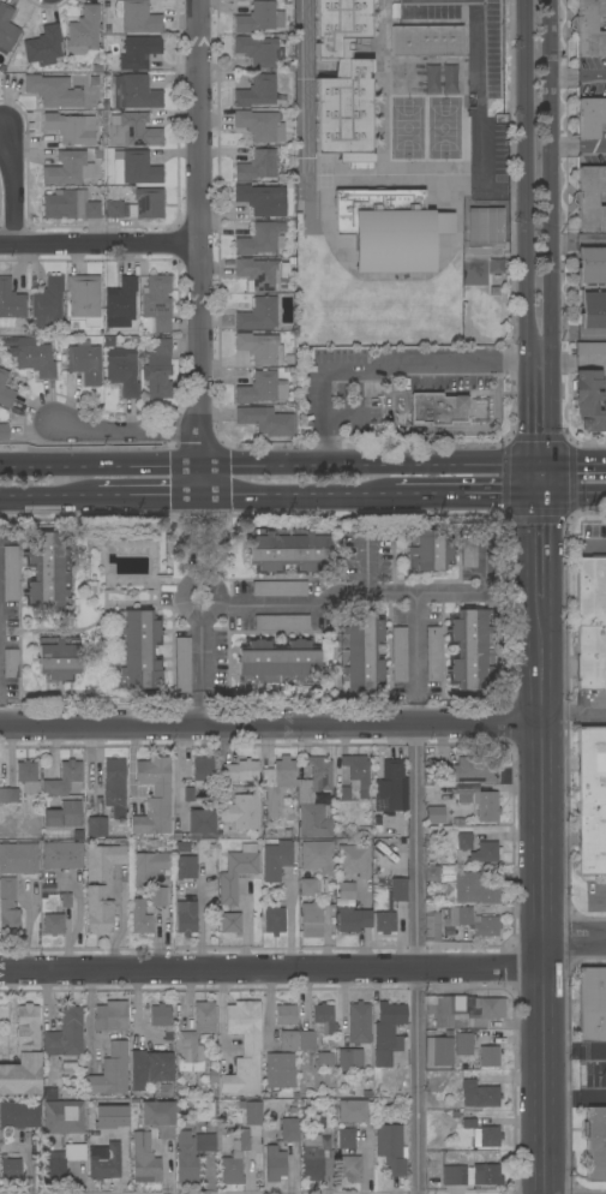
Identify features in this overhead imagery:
building: (137, 17)
building: (259, 18)
building: (6, 28)
building: (589, 28)
building: (83, 31)
building: (426, 41)
building: (43, 44)
building: (262, 50)
building: (137, 52)
building: (241, 77)
road: (578, 79)
building: (342, 83)
building: (52, 91)
building: (257, 91)
building: (133, 92)
road: (476, 96)
building: (590, 117)
building: (259, 126)
building: (71, 129)
building: (133, 131)
road: (580, 148)
building: (257, 166)
building: (68, 168)
building: (136, 168)
road: (526, 178)
road: (16, 184)
building: (590, 198)
building: (260, 199)
building: (146, 204)
building: (68, 205)
building: (113, 210)
building: (485, 225)
building: (385, 229)
road: (552, 232)
building: (258, 240)
road: (578, 240)
road: (100, 244)
road: (200, 249)
building: (592, 265)
building: (258, 273)
building: (84, 299)
building: (157, 302)
building: (48, 303)
building: (120, 303)
building: (10, 304)
building: (593, 310)
building: (258, 315)
road: (578, 335)
building: (260, 348)
building: (590, 348)
building: (34, 358)
building: (85, 363)
road: (378, 364)
building: (158, 370)
building: (122, 371)
building: (262, 388)
building: (5, 390)
building: (589, 400)
building: (438, 408)
road: (527, 412)
building: (265, 420)
road: (126, 431)
building: (4, 432)
traffic signals: (545, 464)
road: (575, 464)
road: (272, 465)
road: (545, 479)
road: (470, 496)
traffic signals: (546, 496)
road: (576, 496)
road: (47, 497)
road: (299, 497)
road: (148, 499)
building: (288, 549)
building: (430, 550)
building: (468, 553)
road: (545, 560)
building: (10, 573)
building: (48, 573)
building: (278, 589)
building: (0, 592)
road: (290, 605)
building: (281, 622)
building: (590, 622)
building: (470, 649)
building: (137, 650)
building: (360, 650)
building: (398, 653)
building: (432, 653)
building: (58, 658)
building: (277, 661)
building: (11, 663)
building: (182, 664)
road: (575, 714)
road: (271, 724)
building: (240, 770)
building: (472, 770)
building: (25, 771)
building: (199, 776)
building: (353, 777)
building: (62, 778)
building: (316, 781)
building: (114, 782)
building: (277, 783)
building: (391, 788)
building: (8, 795)
building: (154, 796)
building: (592, 800)
building: (481, 804)
building: (241, 812)
building: (64, 814)
building: (434, 814)
building: (314, 820)
building: (200, 822)
building: (96, 826)
building: (463, 842)
building: (485, 853)
building: (61, 855)
building: (317, 855)
building: (18, 858)
building: (276, 860)
building: (103, 861)
building: (353, 861)
building: (146, 867)
building: (431, 873)
building: (235, 874)
building: (184, 877)
building: (308, 888)
building: (398, 889)
building: (469, 889)
building: (347, 891)
road: (418, 892)
building: (157, 895)
building: (8, 908)
road: (544, 909)
building: (98, 912)
building: (140, 917)
building: (186, 919)
building: (311, 919)
building: (353, 919)
building: (274, 920)
building: (385, 921)
building: (230, 923)
building: (456, 923)
building: (53, 924)
road: (306, 968)
road: (48, 999)
building: (592, 1004)
building: (444, 1011)
building: (486, 1013)
building: (286, 1015)
building: (109, 1016)
building: (161, 1016)
building: (323, 1019)
building: (358, 1023)
building: (28, 1026)
building: (386, 1031)
building: (65, 1034)
building: (193, 1037)
building: (306, 1039)
building: (288, 1040)
building: (463, 1044)
building: (244, 1047)
road: (575, 1050)
building: (442, 1051)
building: (488, 1056)
building: (324, 1059)
building: (349, 1059)
building: (149, 1068)
building: (280, 1070)
building: (112, 1071)
building: (48, 1093)
building: (479, 1094)
road: (575, 1098)
building: (353, 1111)
building: (252, 1112)
building: (19, 1115)
building: (62, 1117)
building: (110, 1117)
building: (158, 1117)
building: (295, 1128)
building: (482, 1133)
building: (205, 1139)
building: (347, 1139)
building: (595, 1142)
building: (391, 1150)
building: (185, 1154)
building: (235, 1154)
road: (124, 1156)
building: (318, 1157)
building: (144, 1159)
building: (104, 1162)
building: (60, 1163)
building: (275, 1164)
building: (10, 1168)
building: (349, 1168)
building: (472, 1175)

